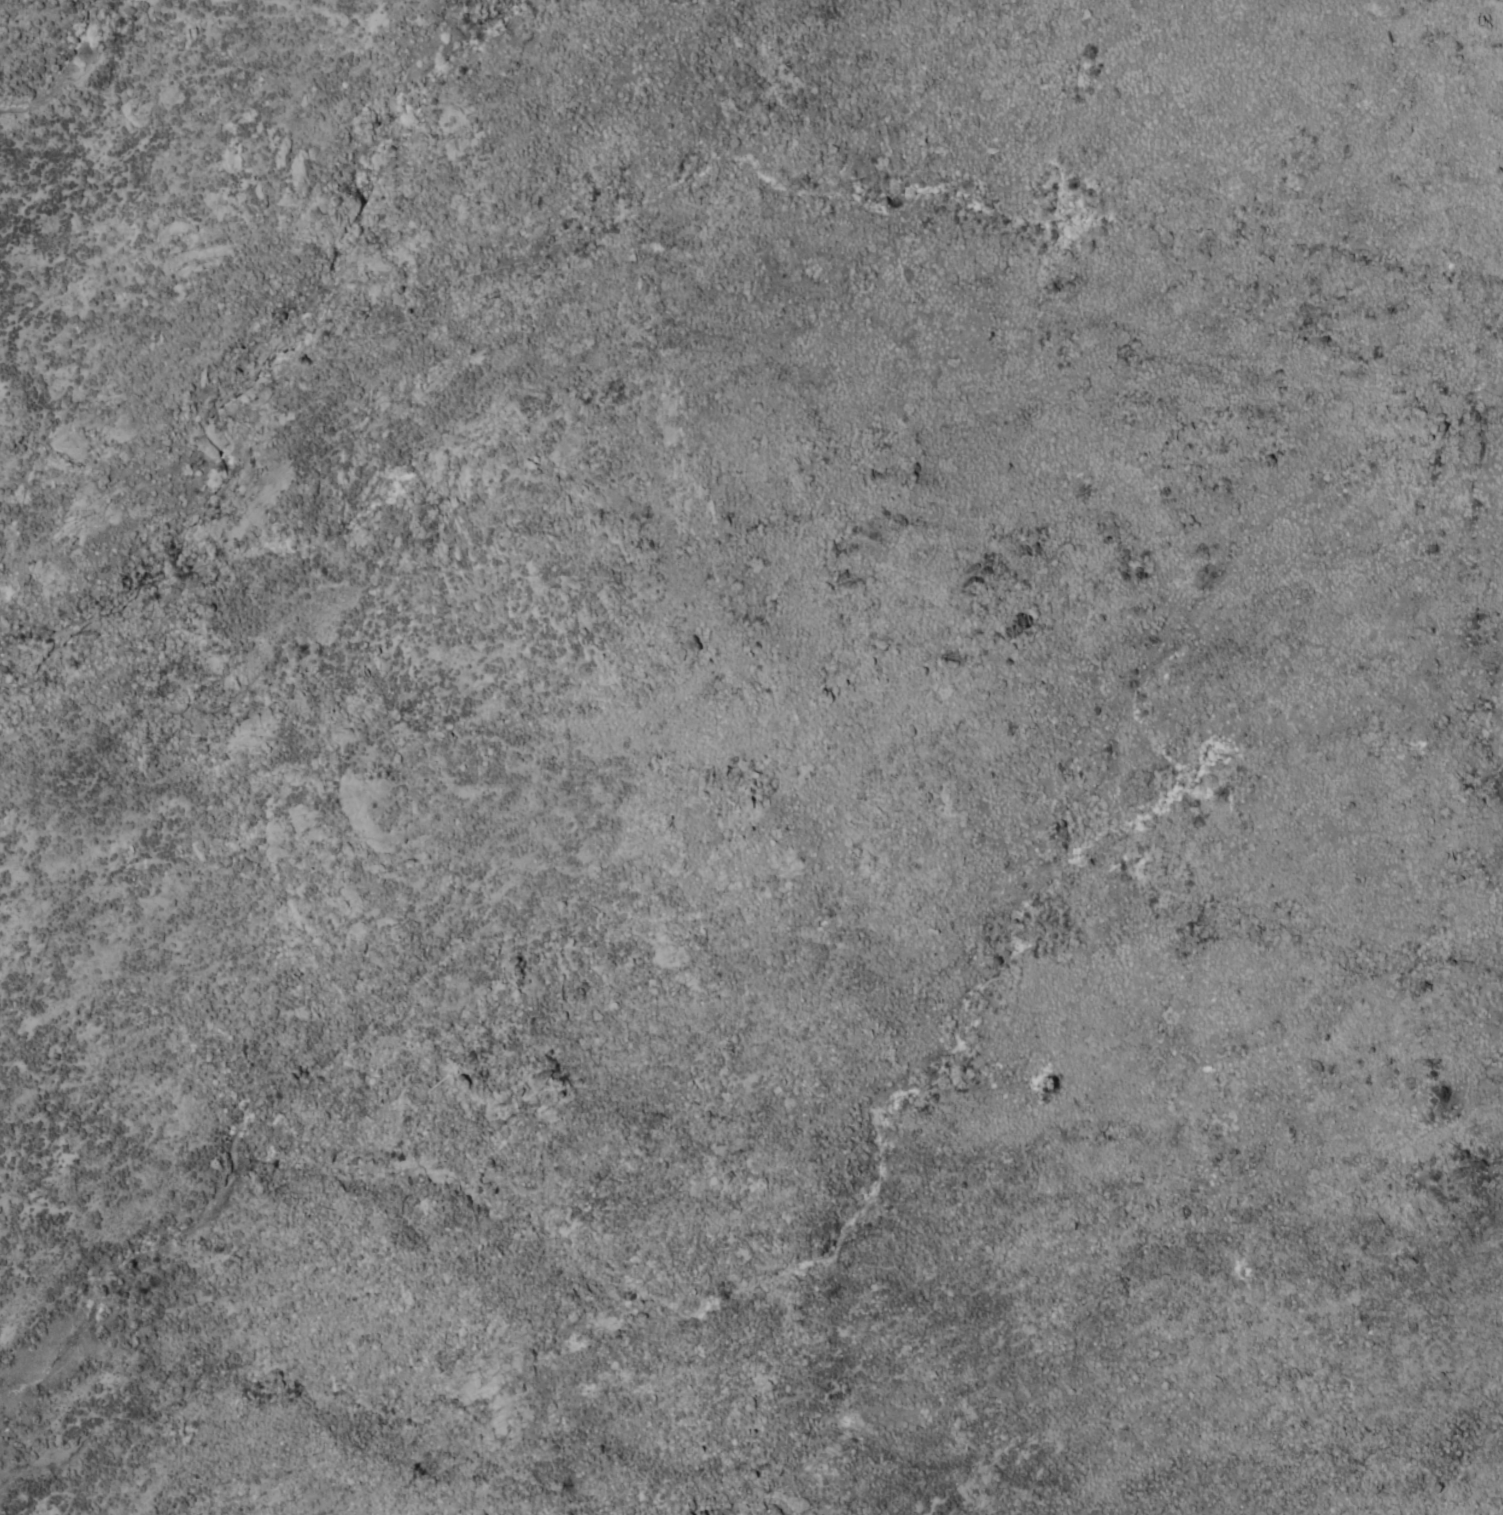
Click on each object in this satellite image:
road: (77, 9)
road: (325, 15)

